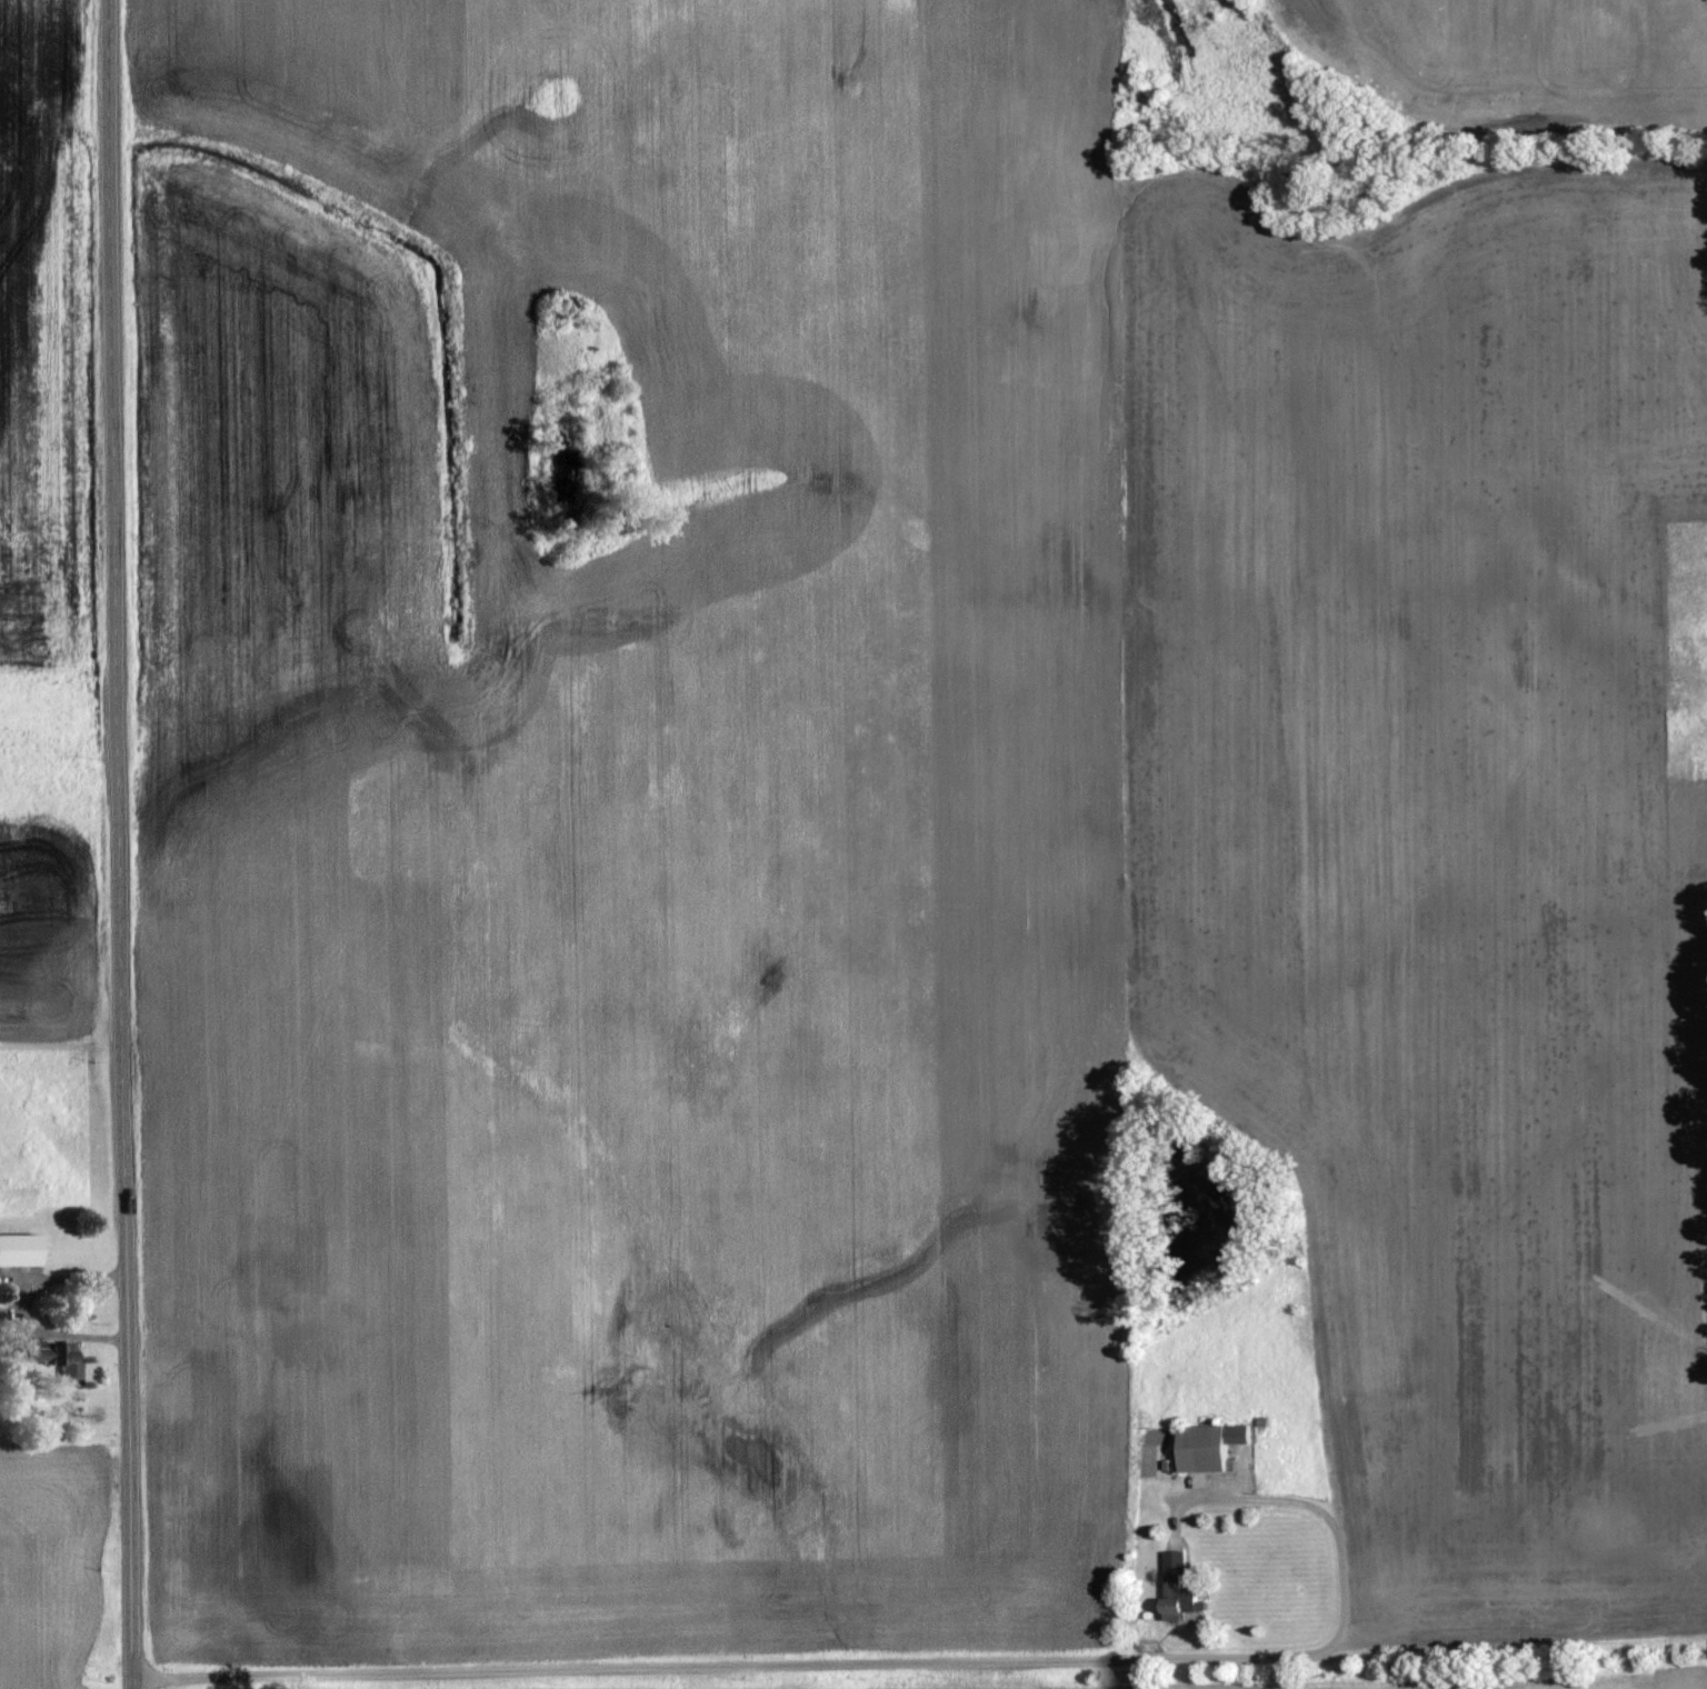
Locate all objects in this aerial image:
road: (118, 845)
building: (16, 1248)
building: (1206, 1446)
building: (1176, 1585)
road: (920, 1672)

